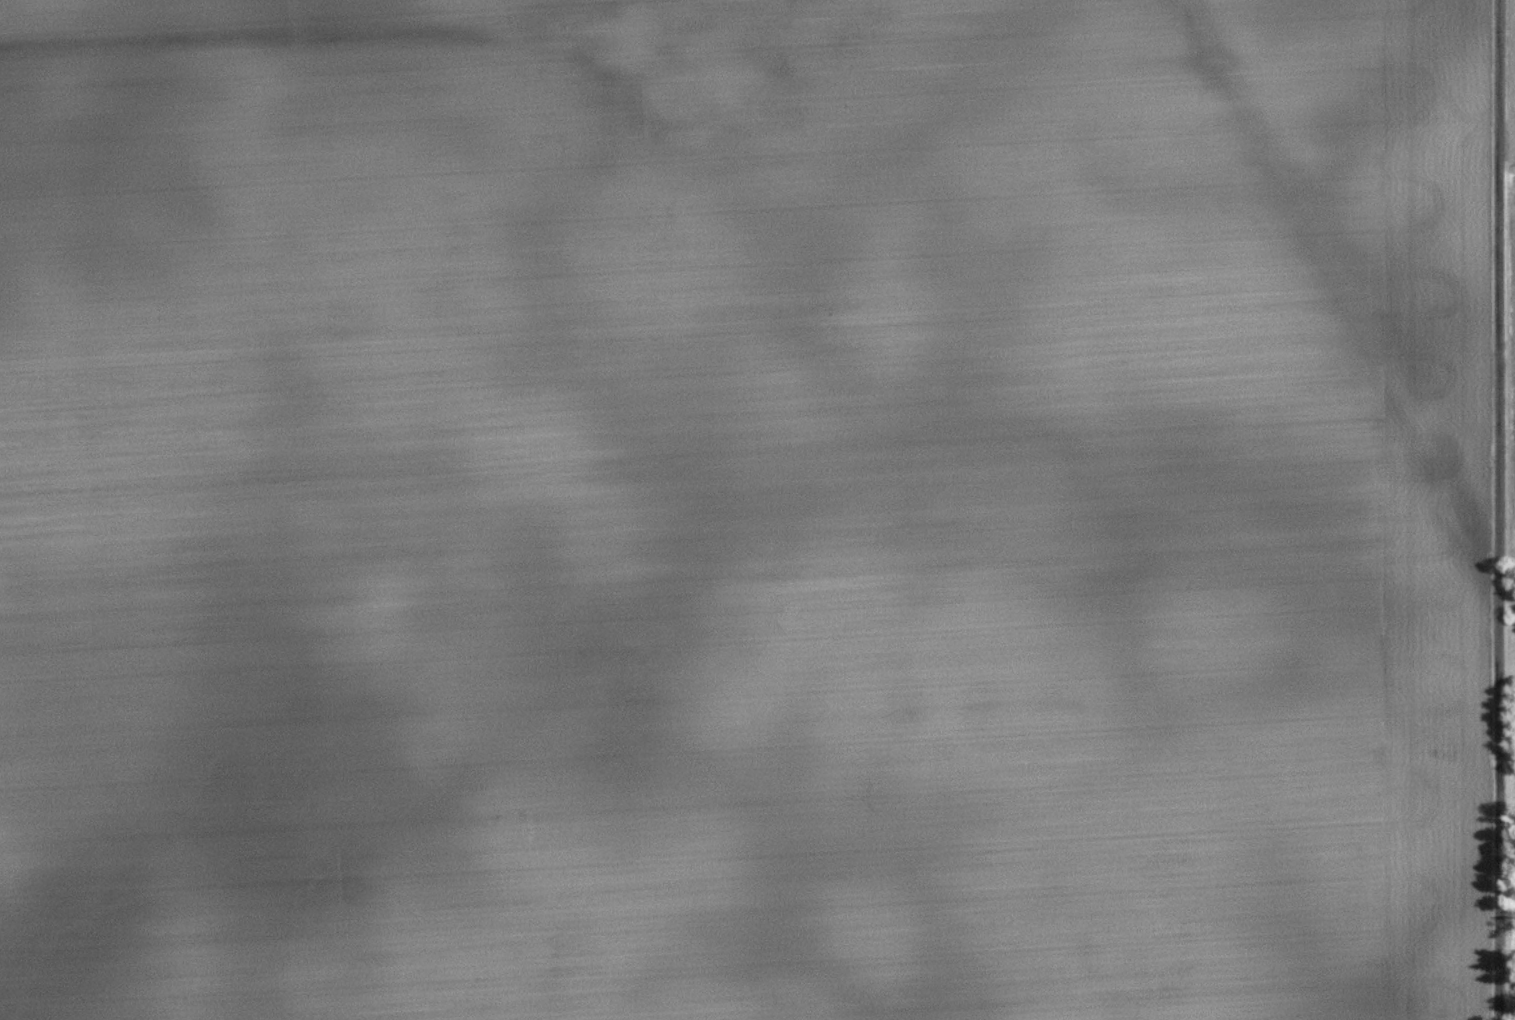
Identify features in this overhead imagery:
road: (1495, 510)

